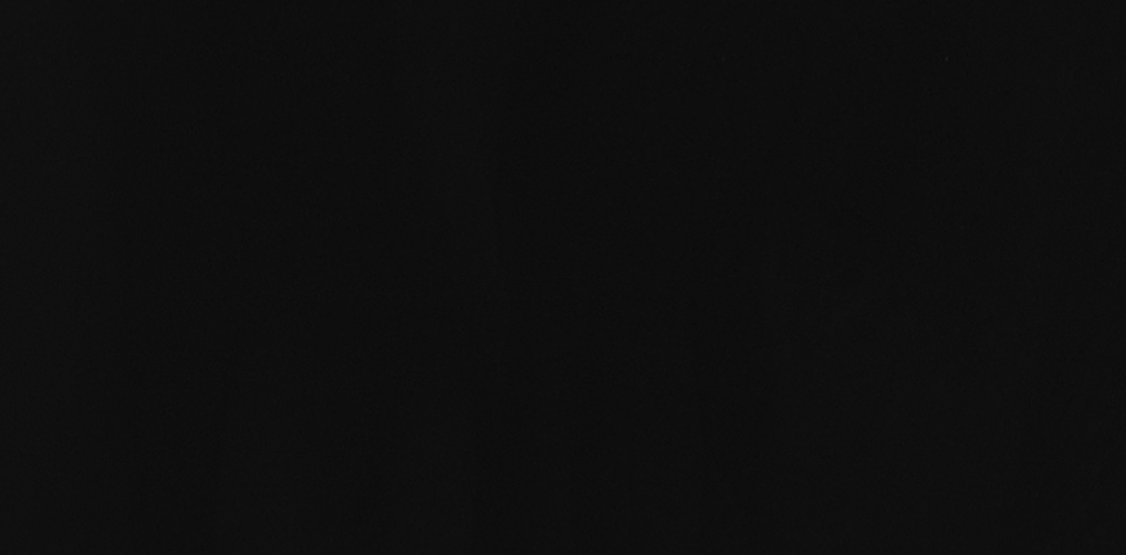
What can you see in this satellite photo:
river: (1049, 273)

